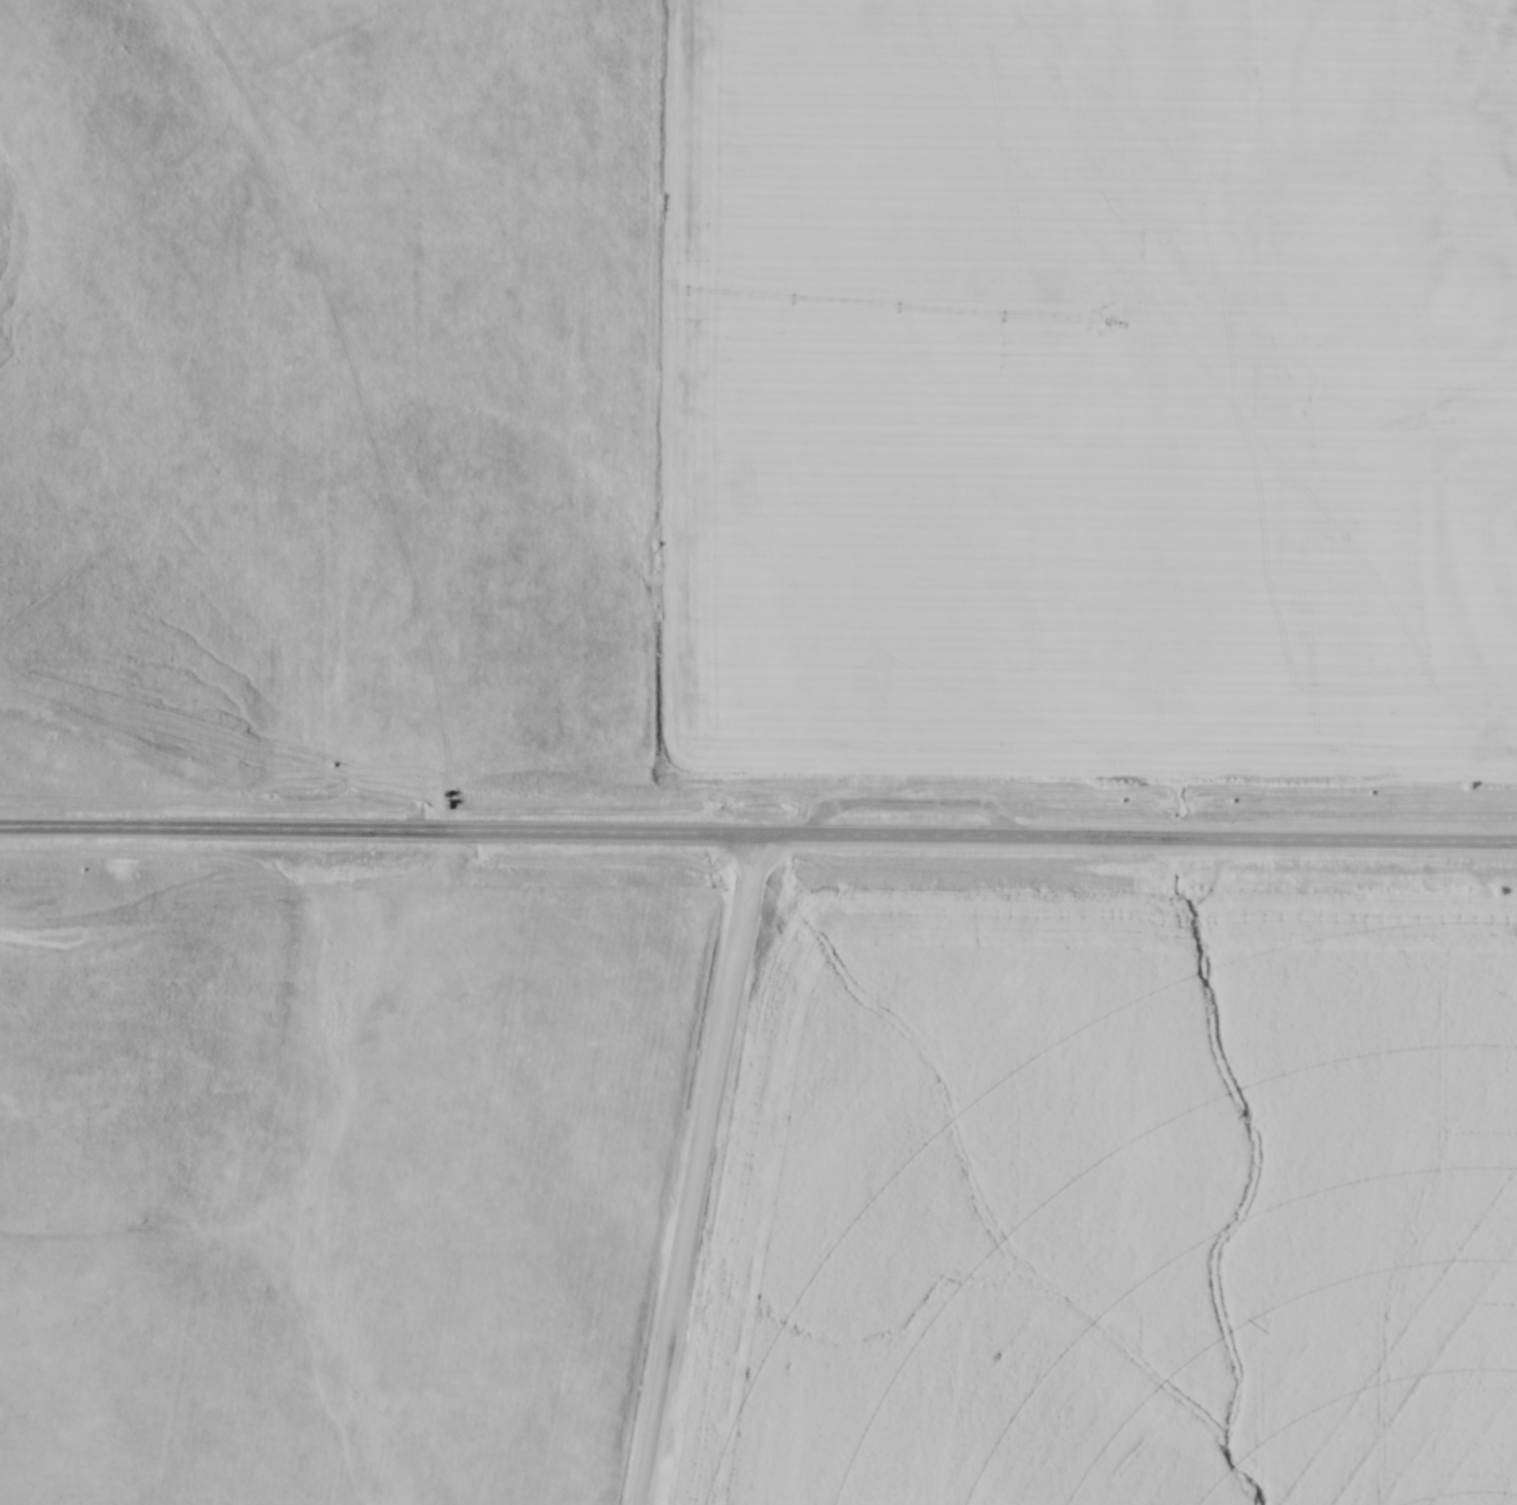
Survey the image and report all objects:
road: (758, 831)
road: (703, 1168)

